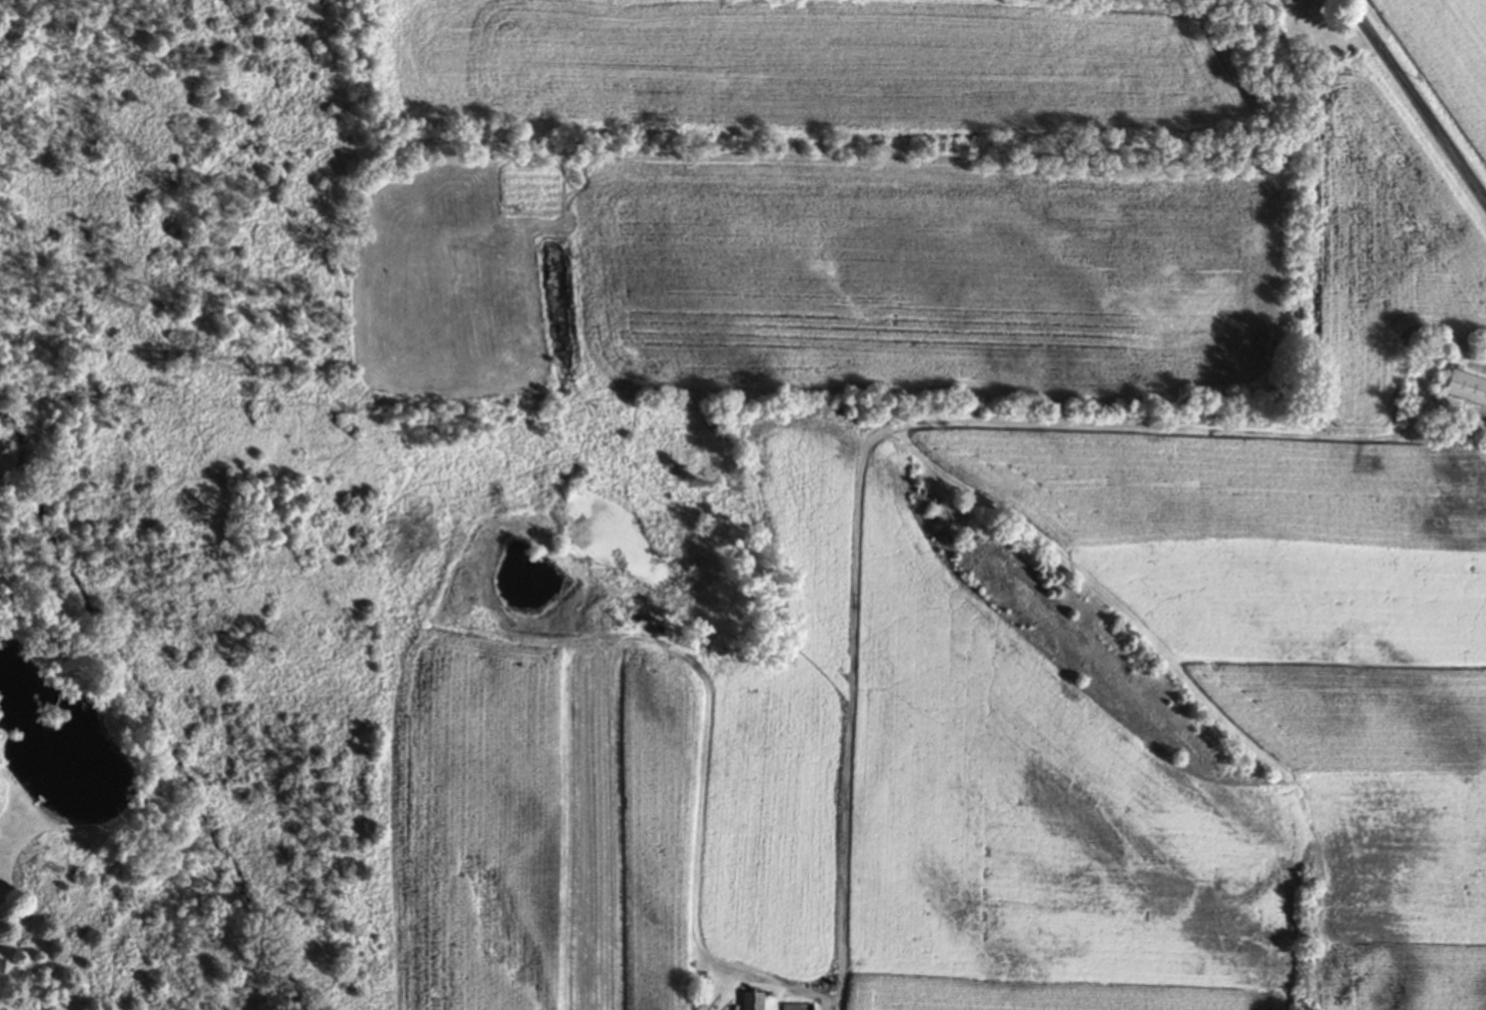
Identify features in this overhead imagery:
building: (1287, 1)
building: (1303, 53)
road: (1416, 101)
building: (1464, 388)
building: (0, 962)
building: (750, 1001)
building: (798, 1007)

